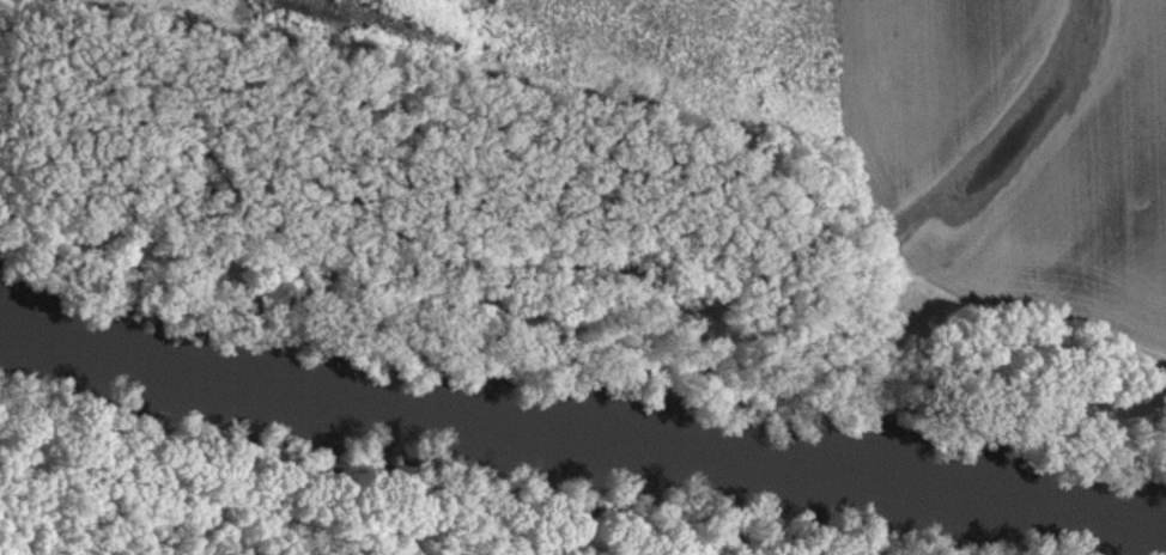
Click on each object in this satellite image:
road: (583, 317)
river: (582, 425)

